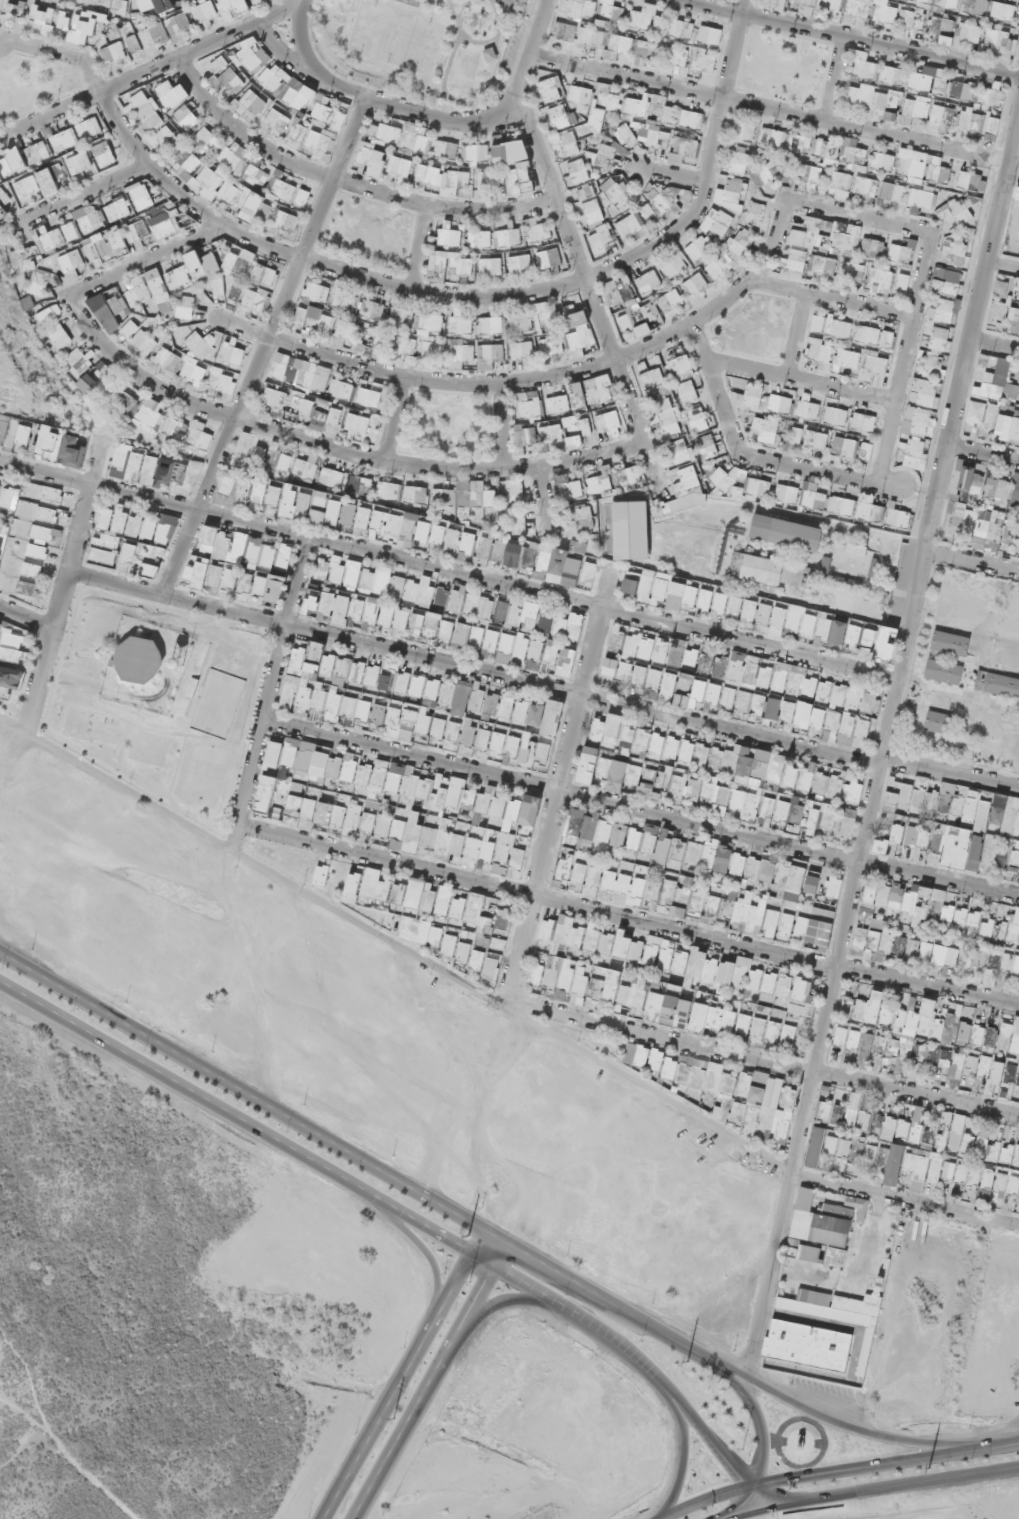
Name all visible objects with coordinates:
road: (884, 1461)
road: (875, 1489)

